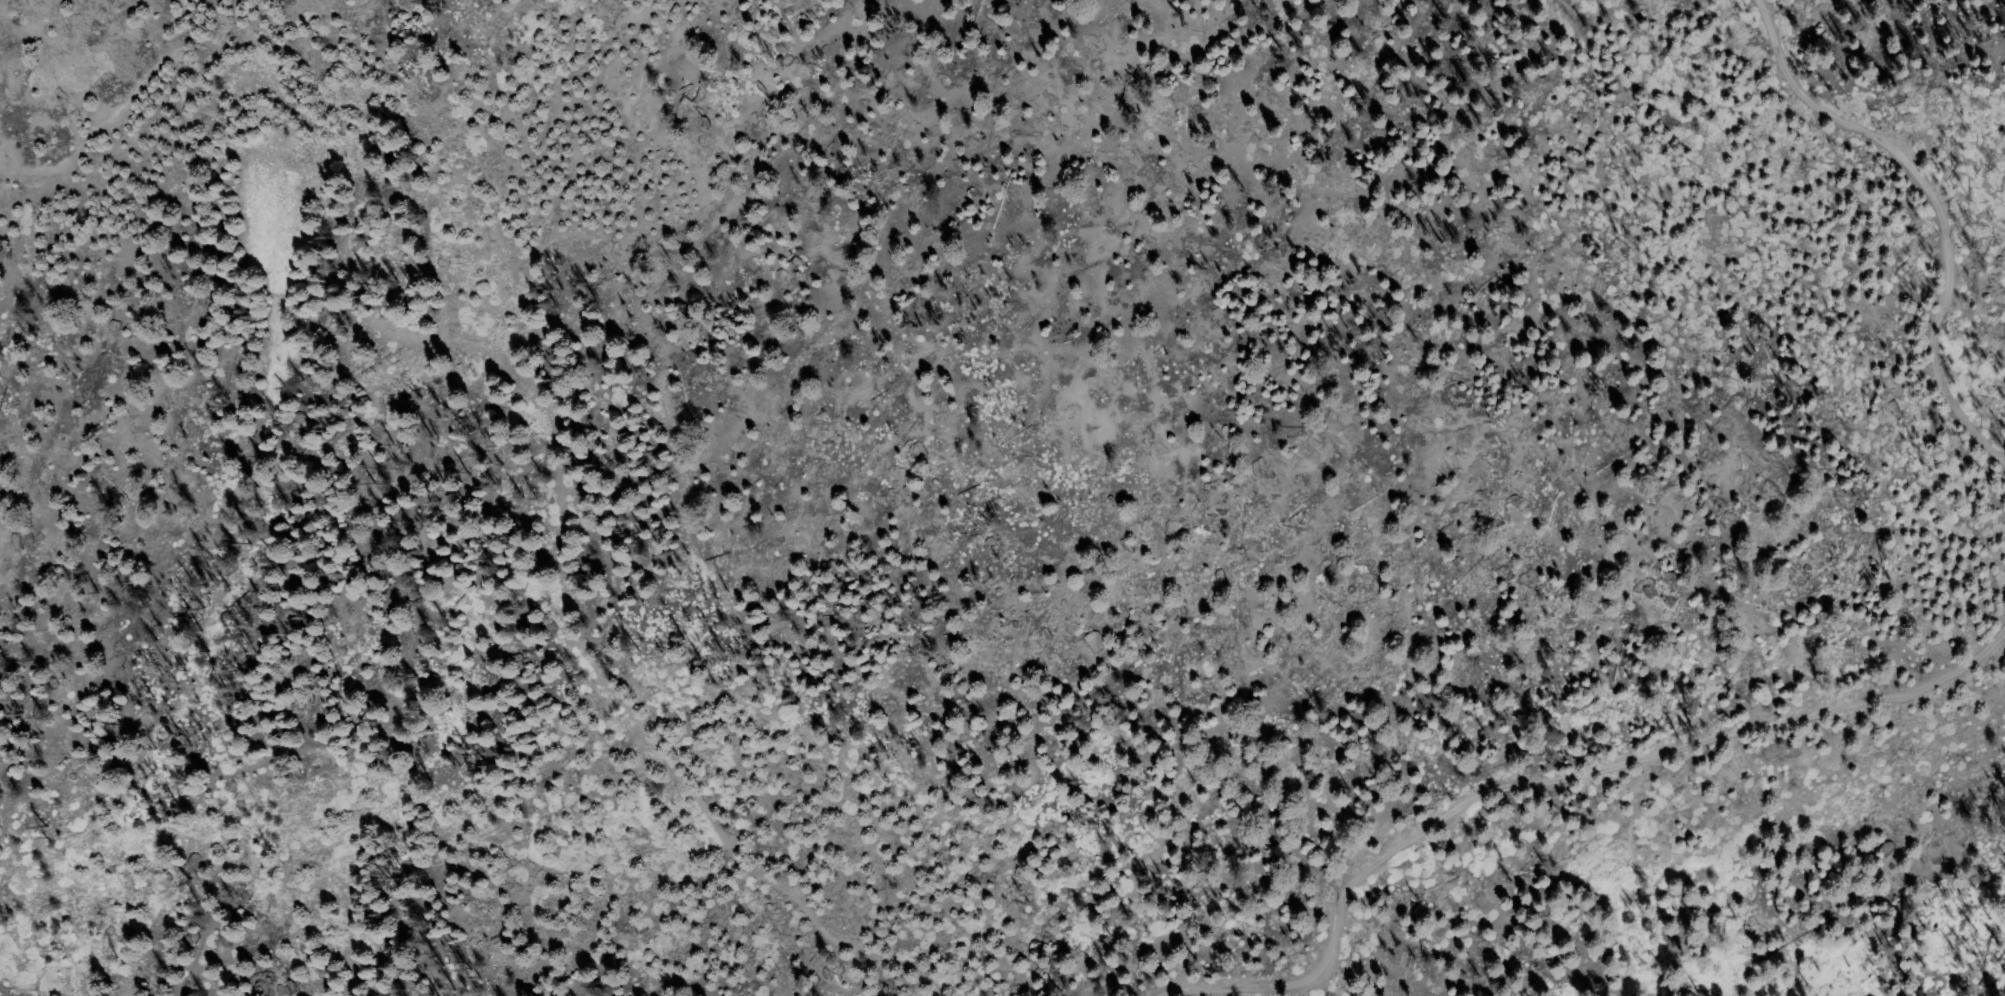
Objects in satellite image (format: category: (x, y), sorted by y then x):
road: (1938, 207)
road: (1550, 781)

